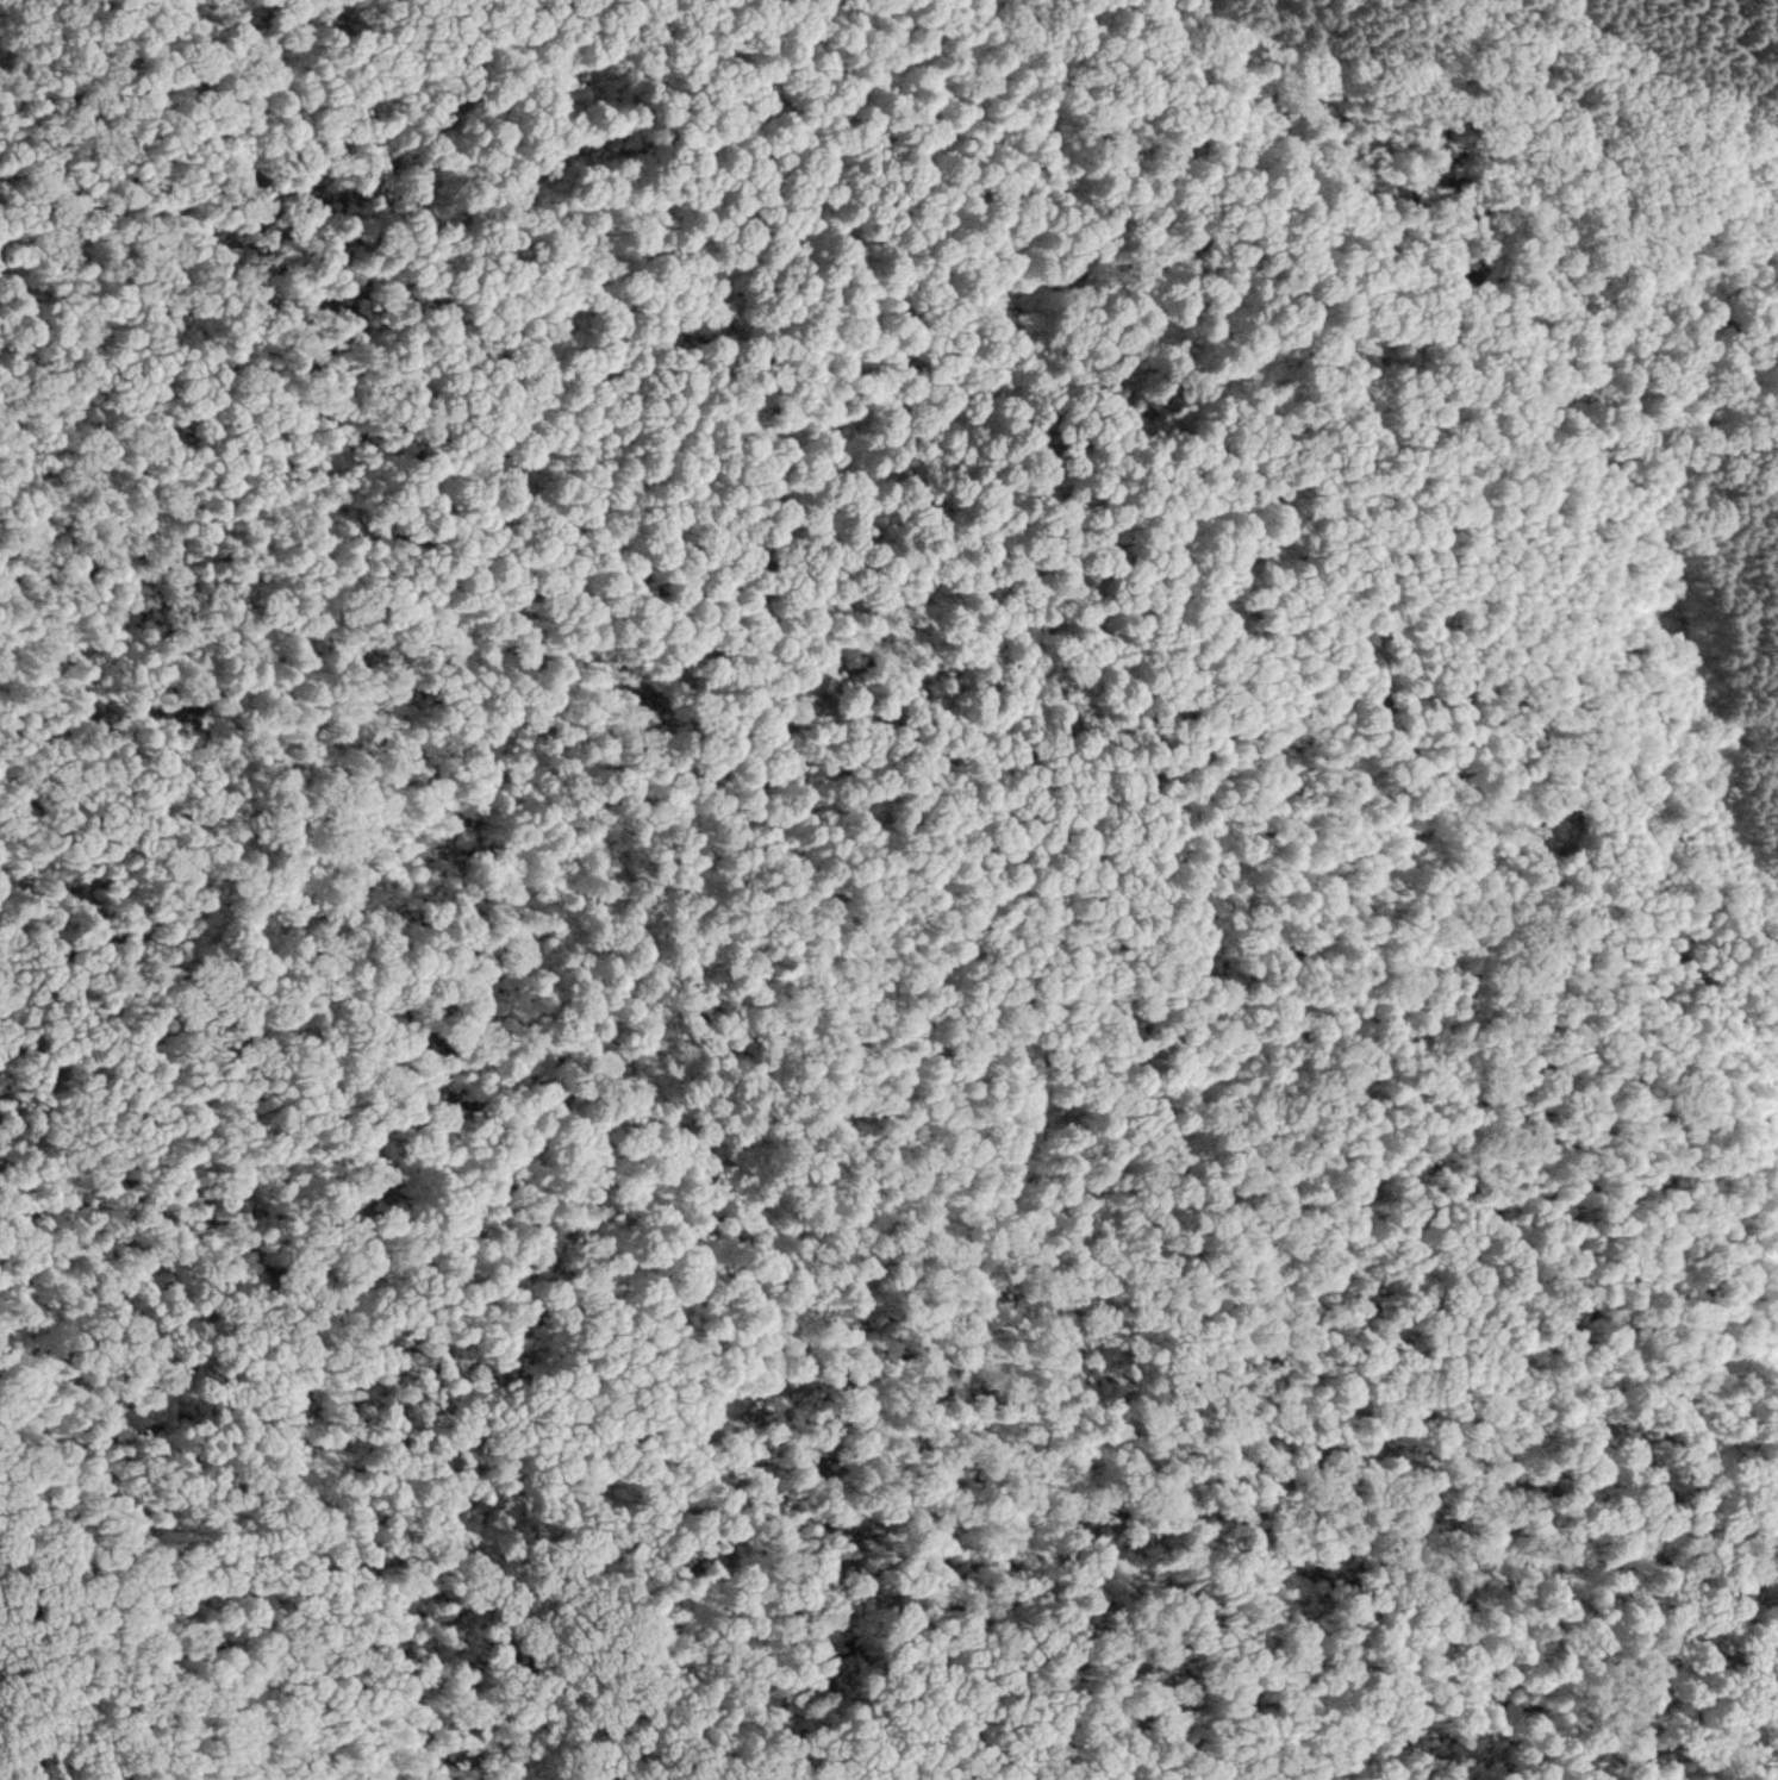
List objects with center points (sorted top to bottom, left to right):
road: (486, 682)
road: (54, 916)
road: (1155, 938)
road: (454, 1370)
road: (902, 1418)
road: (280, 1589)
road: (1399, 1593)
road: (330, 1691)

